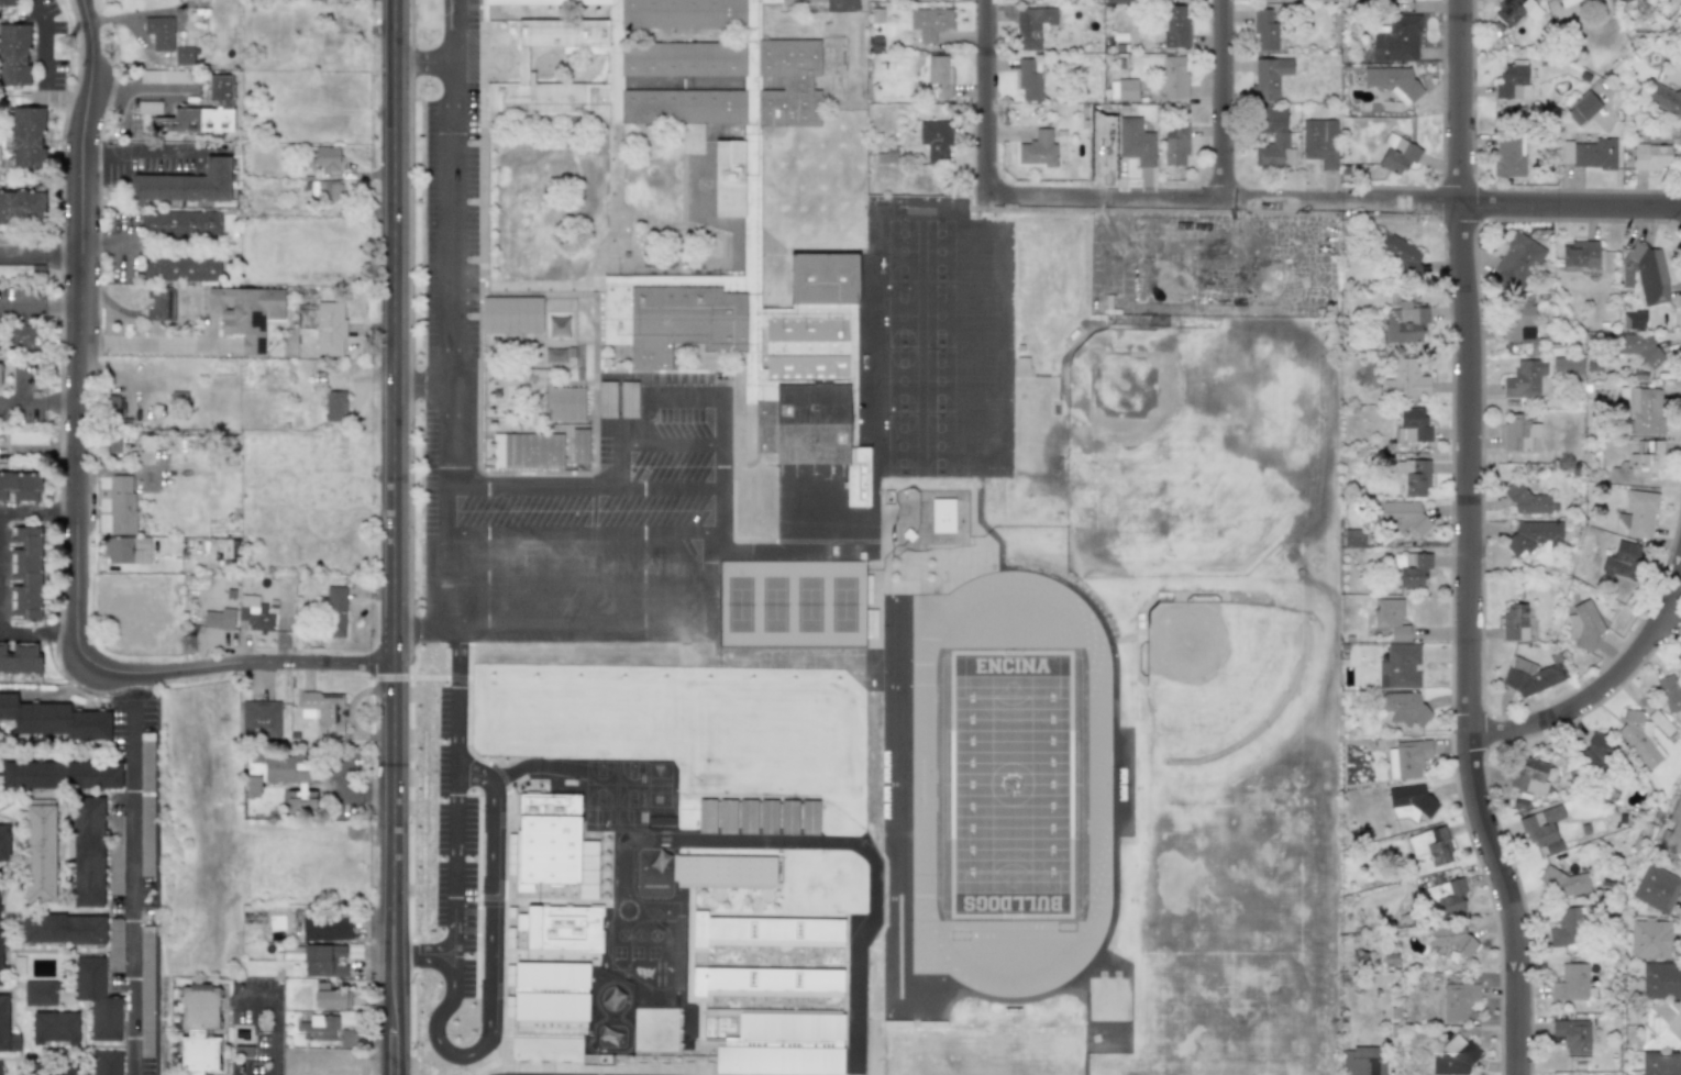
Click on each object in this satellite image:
road: (849, 0)
building: (1269, 0)
building: (1617, 0)
building: (1619, 0)
building: (1119, 1)
building: (7, 2)
building: (1566, 2)
building: (1512, 10)
building: (930, 22)
building: (1033, 25)
building: (1261, 25)
building: (1176, 26)
building: (159, 33)
building: (1396, 37)
power tower: (66, 45)
building: (14, 55)
building: (183, 56)
road: (420, 59)
road: (44, 67)
building: (165, 76)
building: (939, 76)
building: (1174, 77)
building: (1269, 77)
building: (1030, 81)
building: (1394, 81)
building: (1513, 81)
building: (1127, 89)
road: (987, 96)
building: (1666, 98)
road: (1224, 100)
building: (148, 108)
building: (1582, 108)
building: (202, 112)
building: (26, 136)
building: (934, 138)
building: (1273, 138)
building: (1136, 142)
building: (1320, 142)
building: (1174, 145)
building: (1038, 149)
road: (146, 151)
building: (1589, 153)
building: (1397, 154)
building: (1508, 156)
building: (1651, 156)
building: (325, 159)
building: (186, 184)
building: (751, 197)
road: (1335, 201)
building: (22, 207)
building: (180, 224)
building: (1580, 254)
road: (40, 255)
building: (1405, 258)
building: (1517, 262)
building: (179, 267)
building: (14, 270)
building: (1646, 274)
building: (161, 304)
road: (40, 306)
road: (447, 310)
building: (245, 313)
building: (511, 314)
building: (1518, 322)
building: (1405, 324)
building: (329, 329)
building: (20, 335)
road: (145, 344)
building: (1567, 365)
building: (0, 378)
building: (1405, 380)
road: (420, 386)
building: (606, 399)
road: (38, 403)
building: (566, 403)
building: (335, 406)
building: (628, 408)
building: (1644, 409)
road: (642, 419)
building: (1412, 426)
building: (26, 437)
road: (721, 439)
road: (674, 442)
building: (578, 445)
building: (527, 451)
building: (1638, 462)
road: (619, 463)
road: (113, 473)
building: (1412, 477)
road: (77, 486)
road: (533, 486)
building: (20, 487)
road: (671, 487)
building: (121, 505)
road: (394, 512)
road: (38, 513)
building: (1640, 513)
building: (1401, 518)
road: (584, 531)
road: (1470, 540)
building: (168, 550)
building: (125, 551)
road: (710, 554)
building: (1621, 563)
building: (436, 566)
building: (1412, 568)
road: (0, 572)
building: (25, 572)
road: (578, 575)
building: (333, 612)
building: (255, 616)
building: (219, 619)
road: (577, 619)
building: (1391, 619)
building: (1514, 622)
road: (420, 624)
building: (1584, 624)
road: (0, 631)
road: (38, 631)
power tower: (188, 646)
building: (20, 658)
building: (1400, 667)
building: (1530, 676)
track: (906, 678)
road: (1602, 687)
building: (1670, 691)
building: (1404, 709)
building: (323, 713)
building: (1655, 718)
building: (54, 719)
building: (259, 719)
building: (1640, 740)
building: (1595, 751)
building: (1407, 758)
building: (60, 775)
building: (1530, 776)
building: (284, 778)
road: (349, 795)
building: (1411, 802)
building: (146, 804)
road: (456, 816)
building: (697, 816)
building: (726, 816)
track: (1080, 816)
building: (747, 817)
building: (767, 817)
building: (788, 817)
building: (809, 818)
building: (830, 818)
building: (1540, 824)
building: (1673, 832)
building: (4, 843)
building: (553, 844)
building: (1431, 845)
building: (40, 851)
building: (88, 852)
building: (115, 854)
building: (725, 872)
building: (1566, 884)
road: (131, 889)
building: (1656, 889)
building: (1445, 898)
road: (365, 910)
track: (907, 920)
building: (627, 921)
building: (644, 921)
building: (63, 929)
building: (327, 929)
building: (563, 929)
building: (1567, 929)
building: (1448, 938)
building: (1649, 939)
building: (865, 940)
building: (115, 944)
building: (0, 958)
building: (323, 961)
road: (488, 966)
building: (865, 976)
building: (1661, 980)
building: (722, 982)
building: (1572, 983)
building: (146, 991)
building: (550, 991)
building: (38, 993)
building: (330, 997)
building: (97, 998)
building: (613, 1000)
building: (1458, 1000)
building: (864, 1020)
road: (272, 1022)
building: (1661, 1026)
building: (55, 1028)
building: (319, 1028)
building: (7, 1029)
building: (199, 1030)
building: (347, 1035)
building: (1572, 1035)
road: (395, 1050)
building: (863, 1059)
building: (1455, 1059)
building: (106, 1062)
building: (1361, 1062)
building: (1661, 1064)
building: (0, 1067)
building: (52, 1072)

